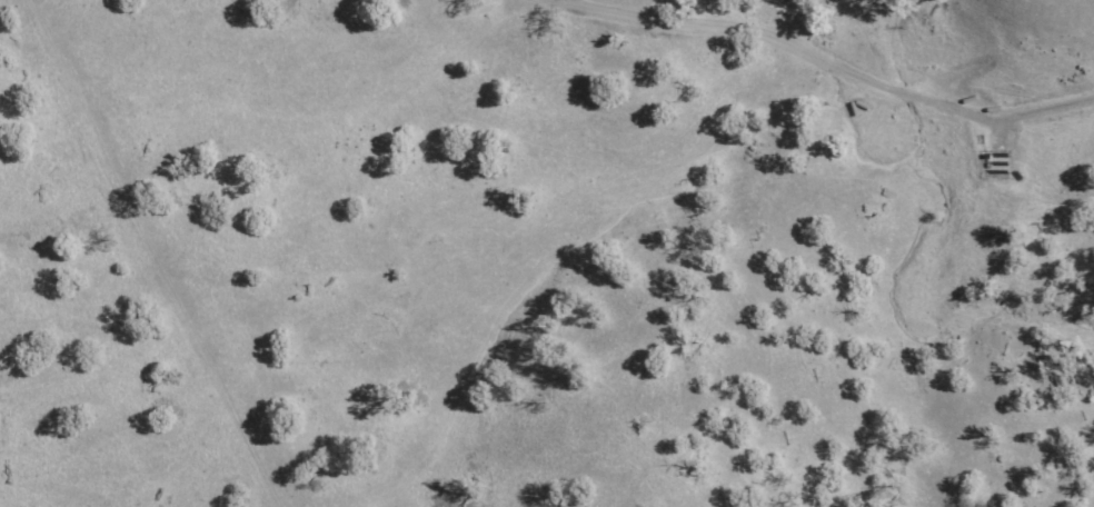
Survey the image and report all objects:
road: (885, 33)

